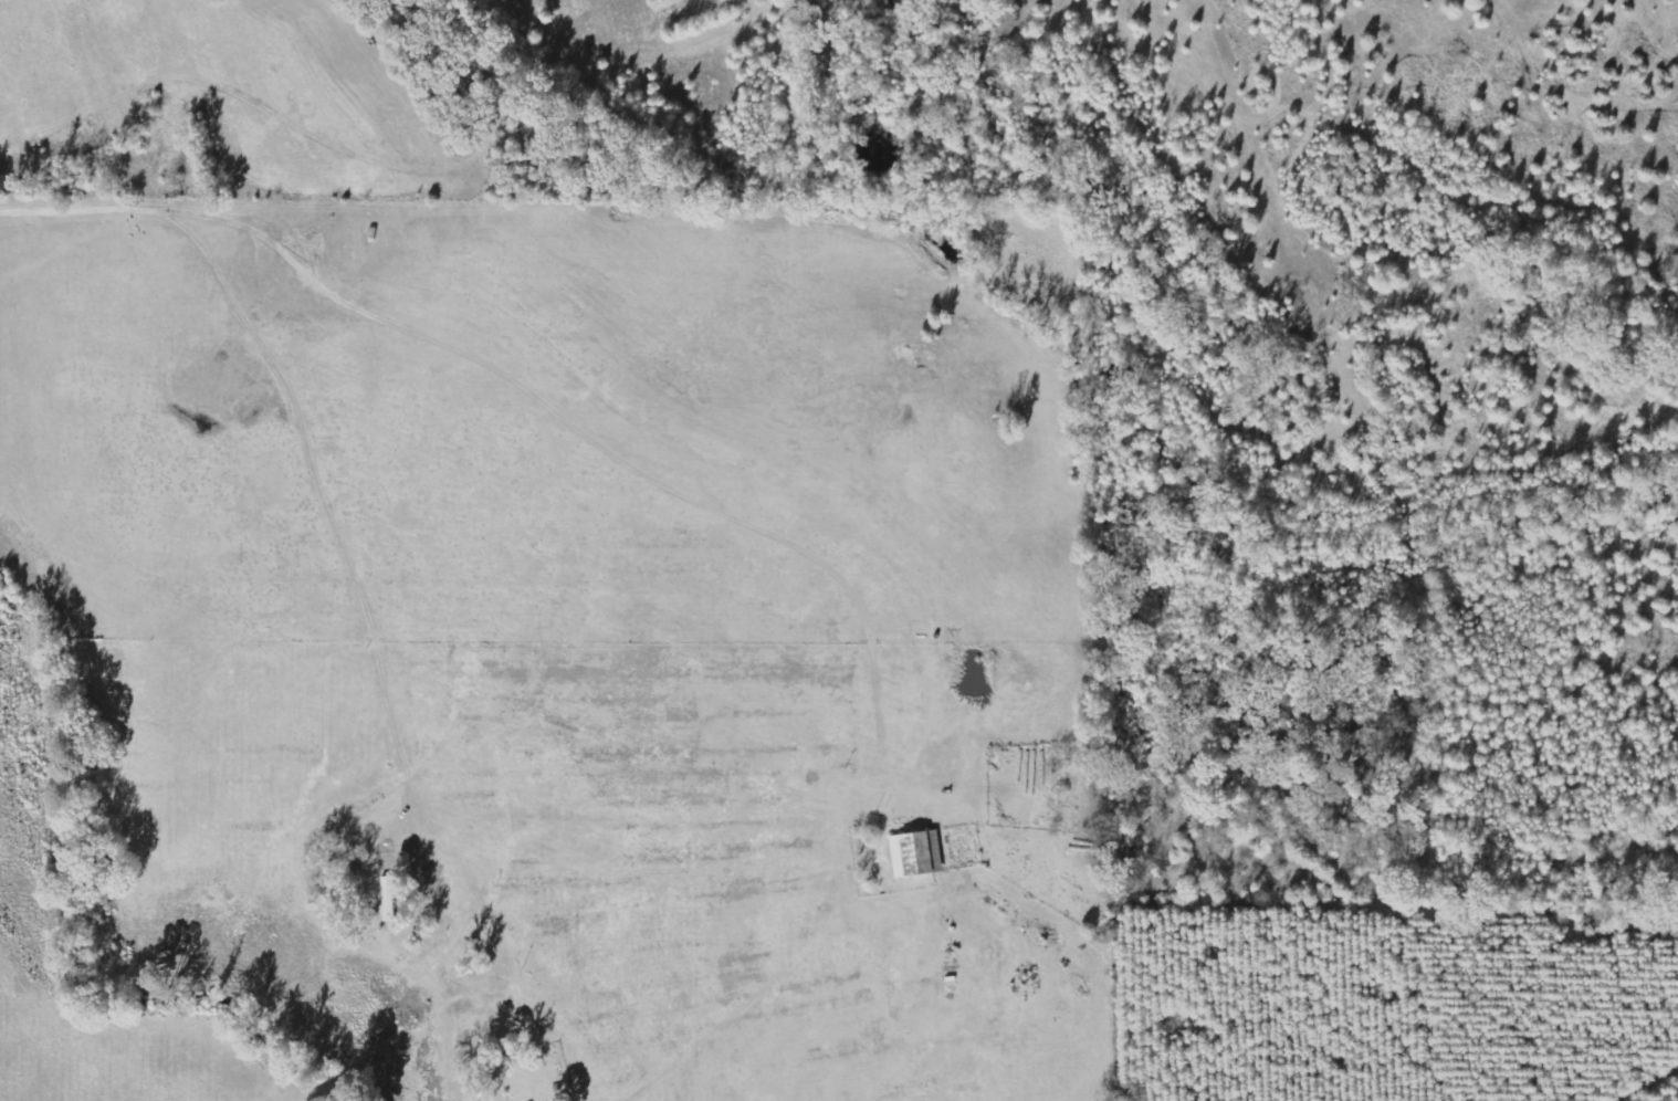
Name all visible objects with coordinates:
road: (570, 342)
building: (917, 854)
building: (390, 898)

